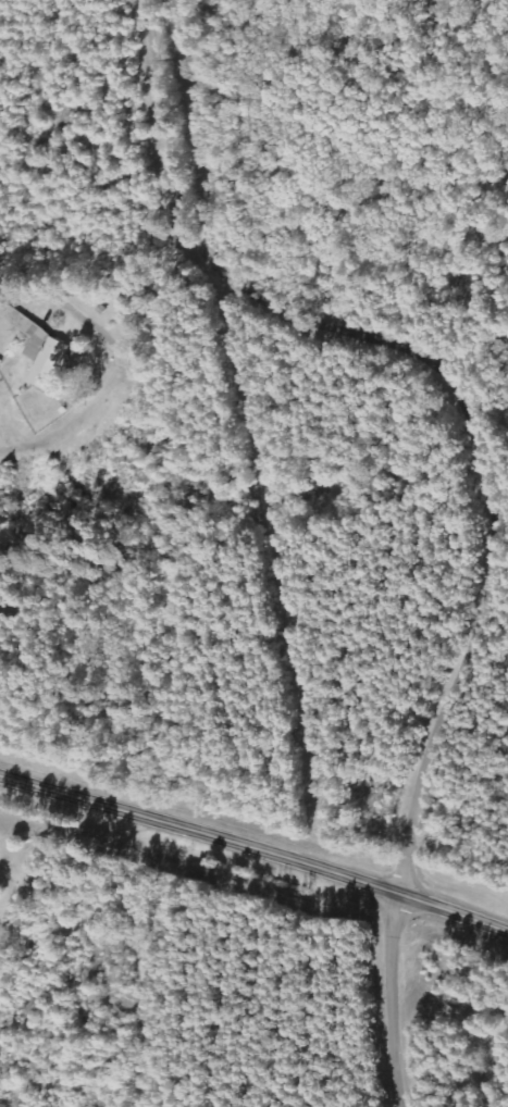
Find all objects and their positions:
road: (164, 293)
building: (41, 350)
road: (446, 383)
road: (255, 855)
road: (398, 1003)

